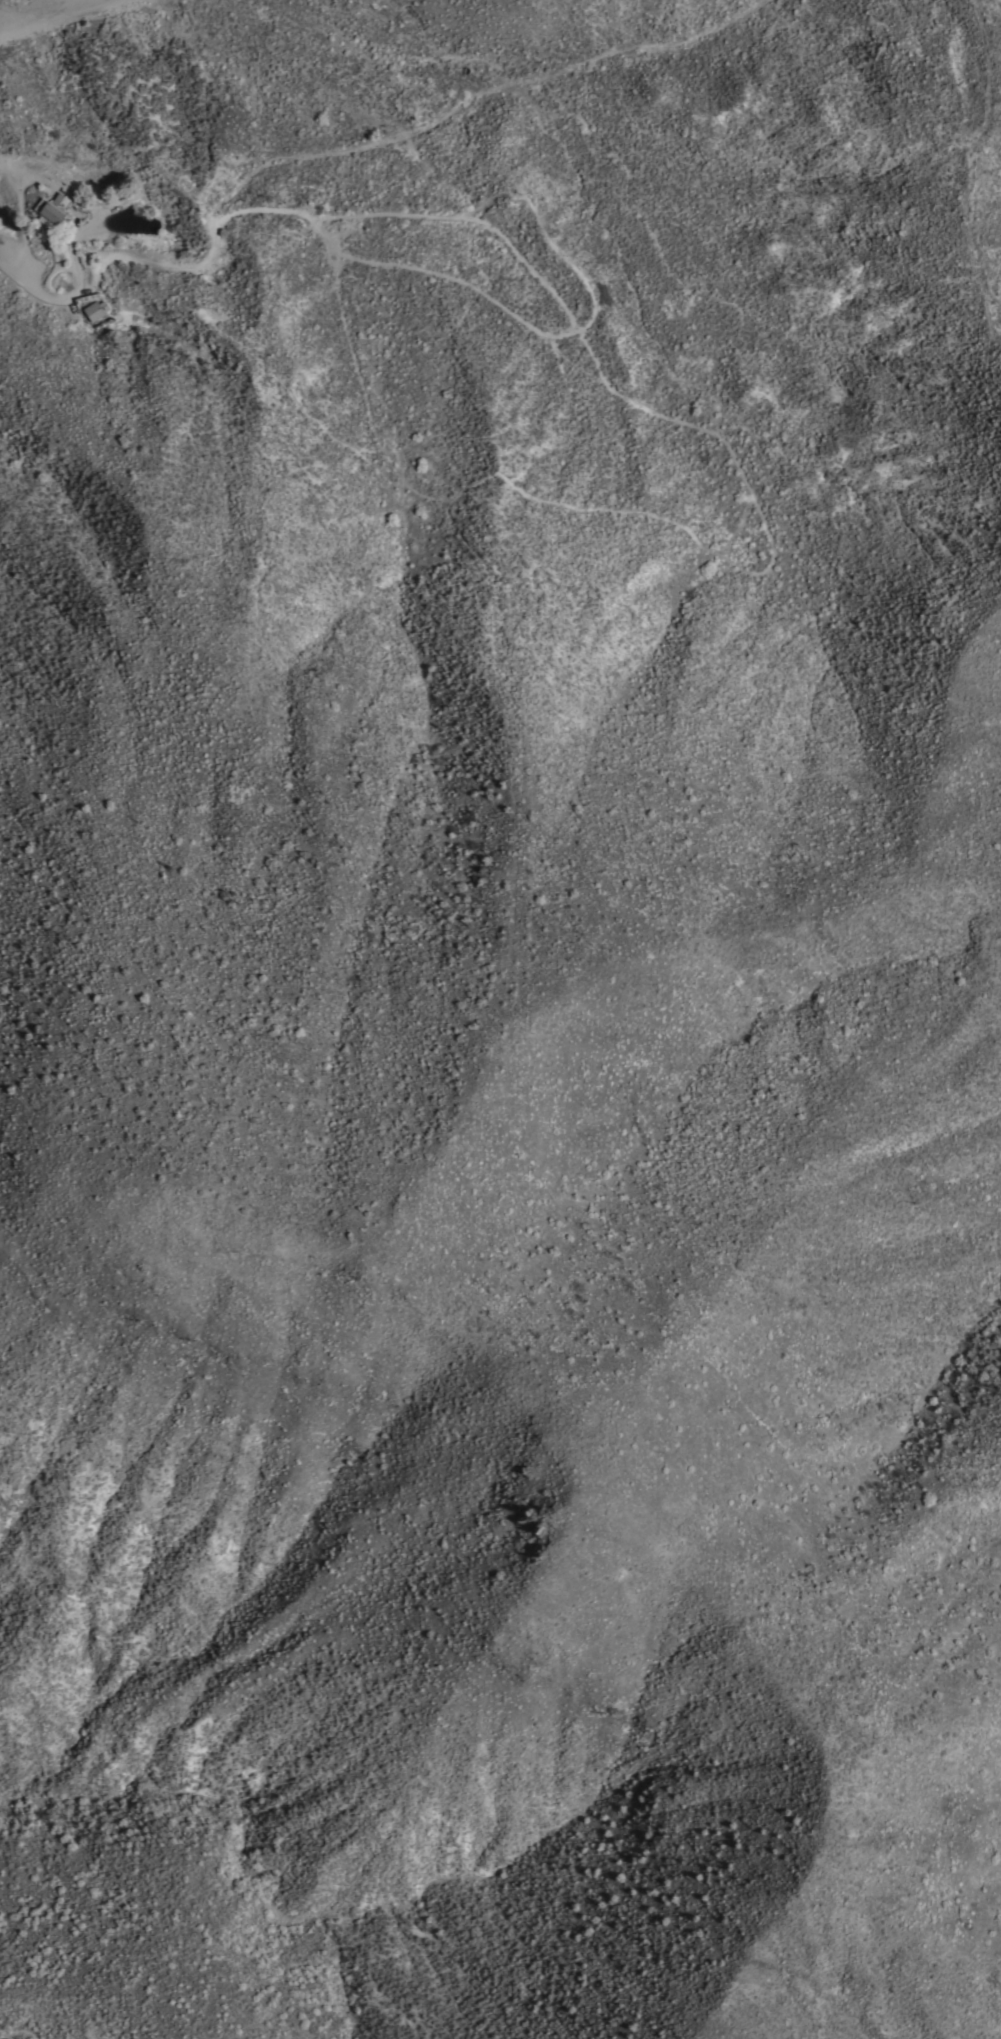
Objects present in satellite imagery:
road: (74, 12)
building: (53, 210)
road: (111, 261)
building: (94, 312)

